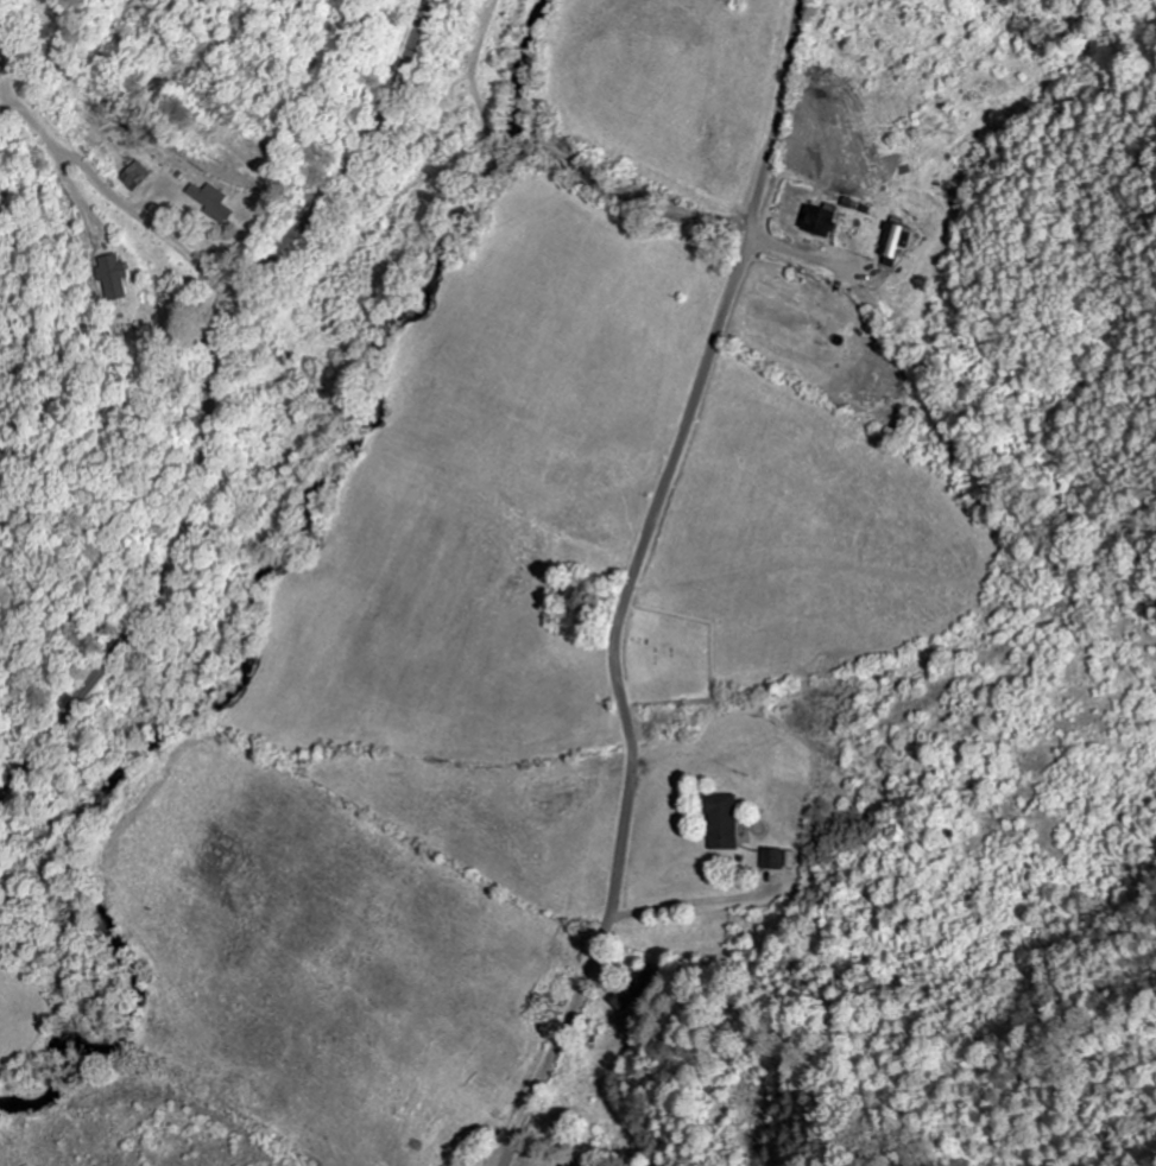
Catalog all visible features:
building: (138, 177)
building: (217, 203)
building: (823, 224)
building: (896, 241)
building: (113, 277)
road: (208, 395)
road: (632, 583)
building: (728, 823)
building: (776, 860)

